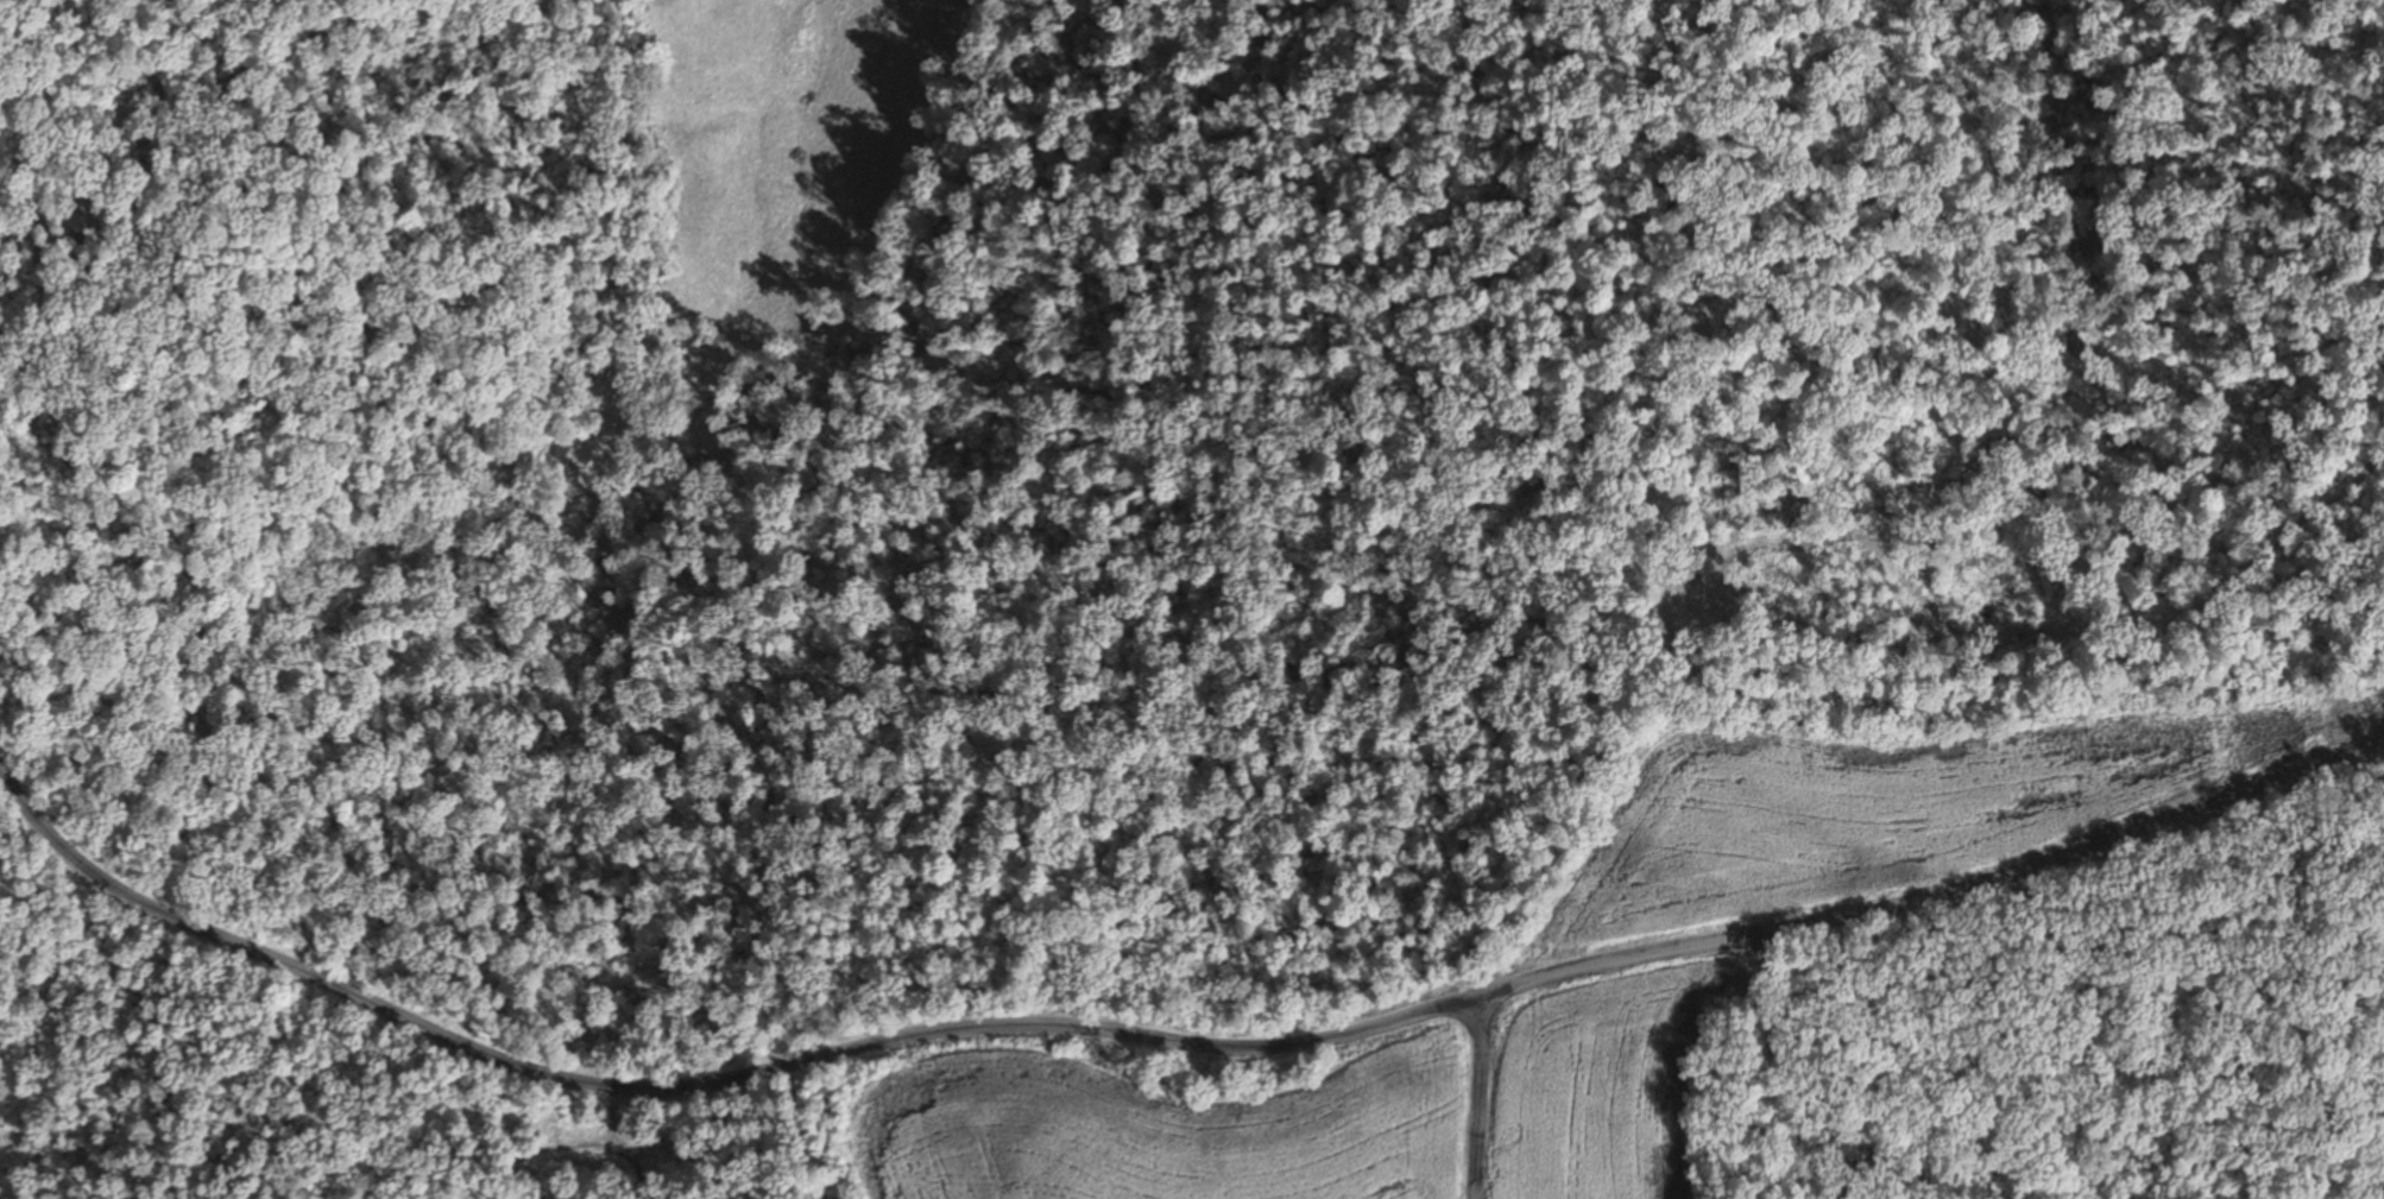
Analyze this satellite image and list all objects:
road: (1166, 1039)
road: (1481, 1096)

